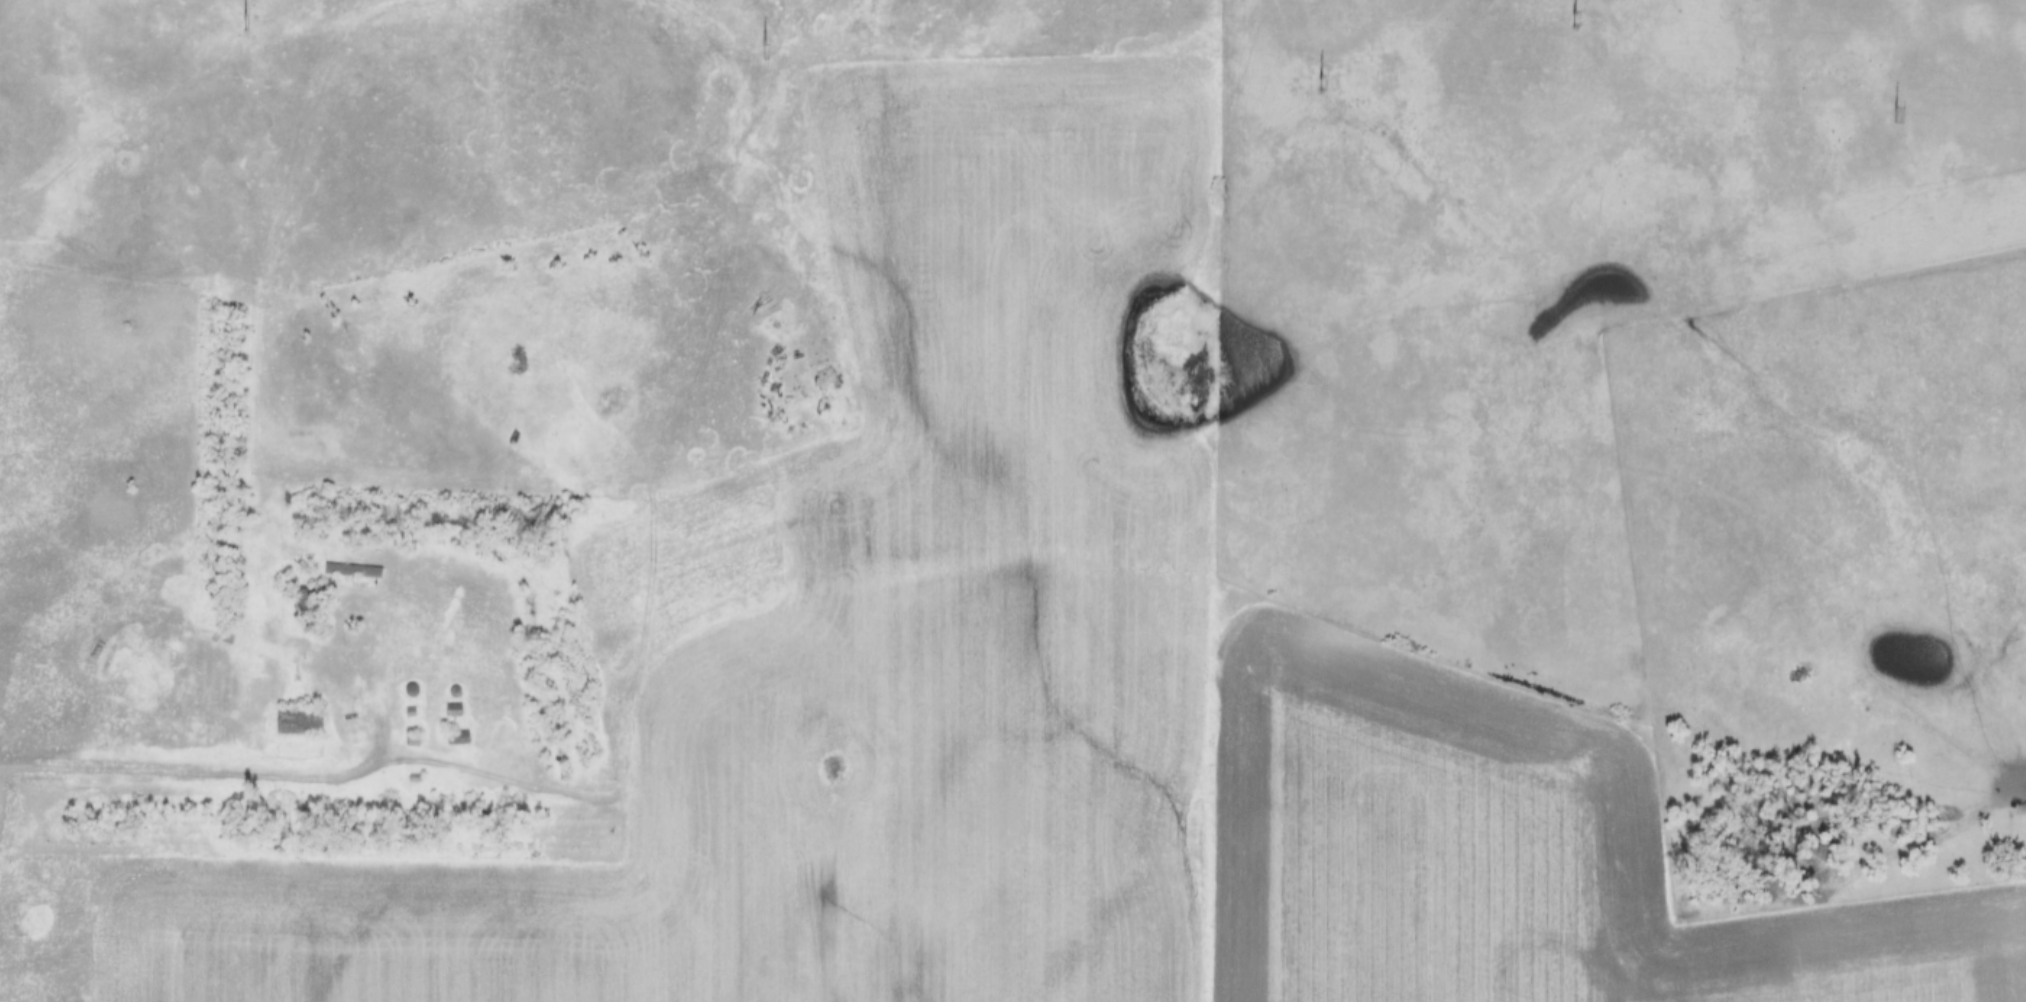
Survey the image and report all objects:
power tower: (246, 24)
power tower: (768, 50)
power tower: (1324, 81)
power tower: (1895, 114)
building: (350, 570)
road: (339, 622)
road: (1144, 652)
building: (451, 710)
building: (298, 720)
building: (457, 737)
road: (188, 776)
road: (1960, 941)

